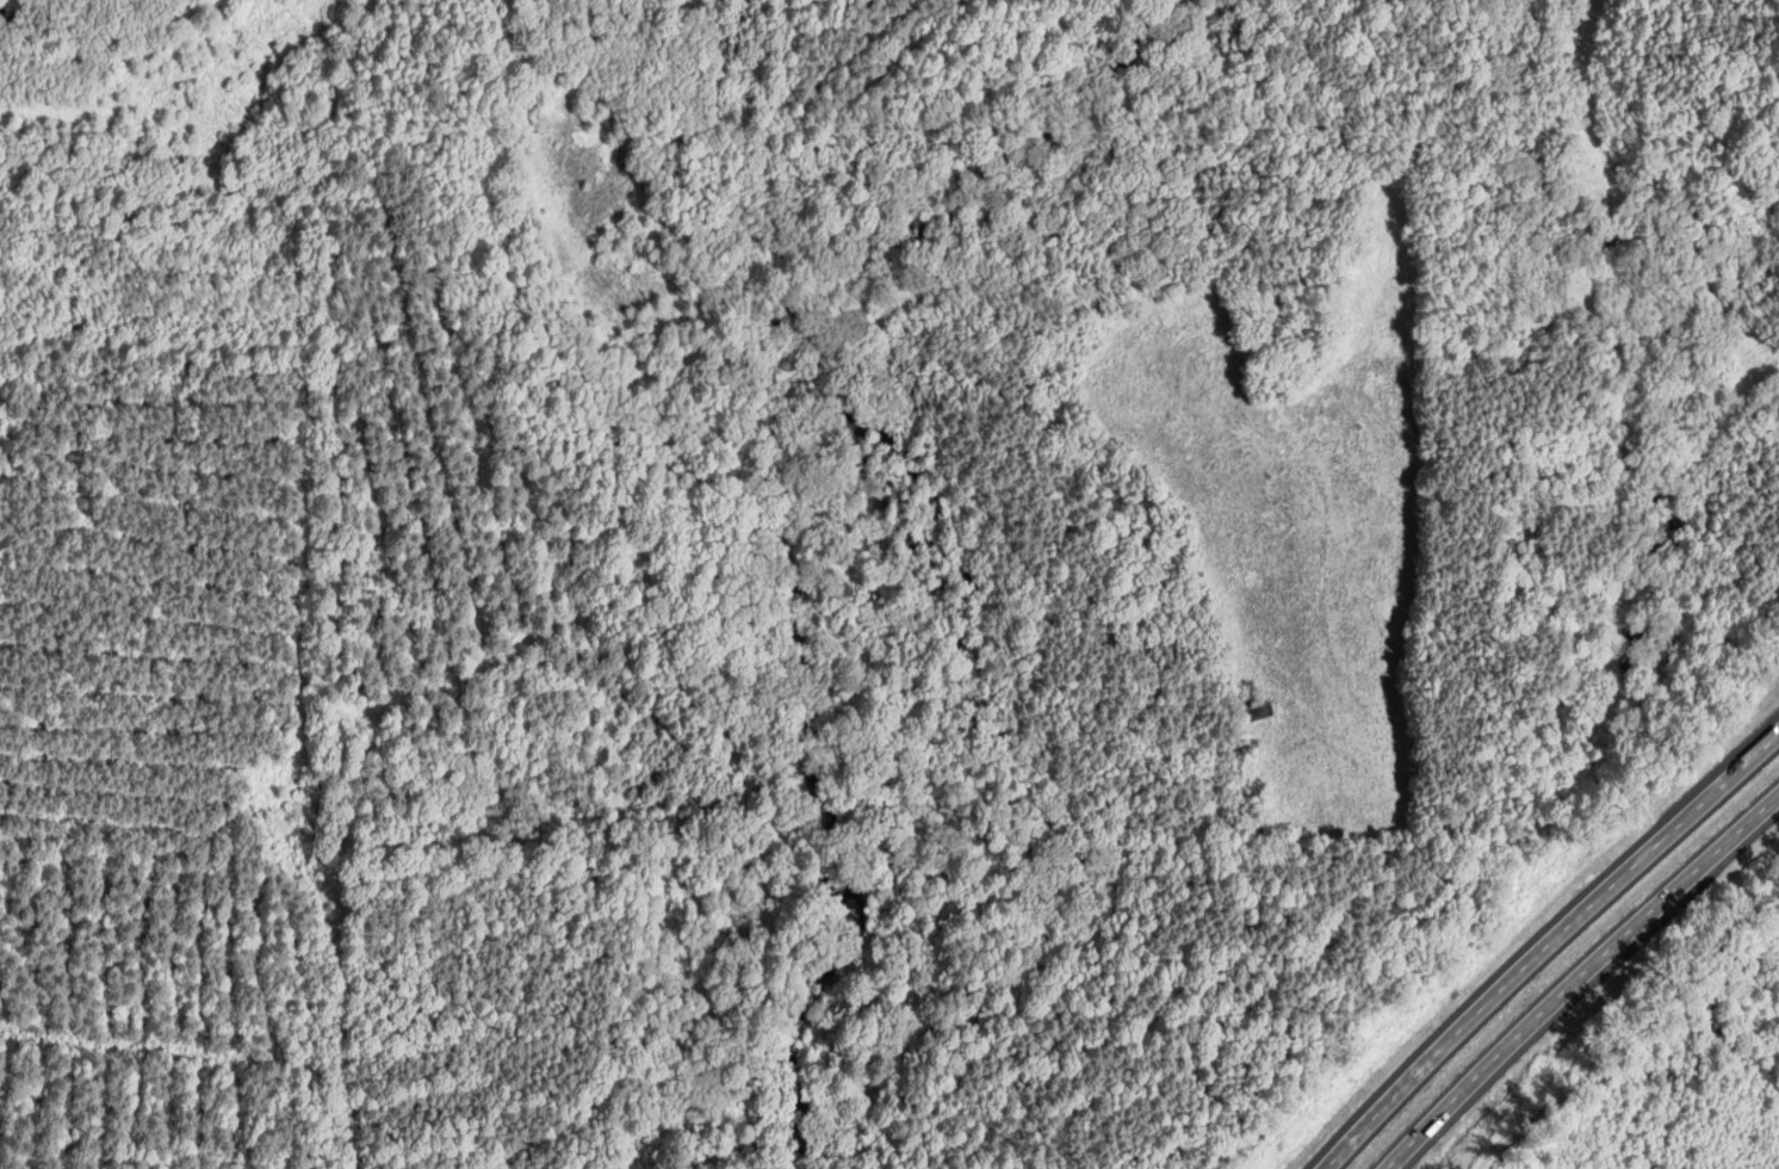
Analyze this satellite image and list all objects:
road: (1543, 940)
road: (1585, 982)

